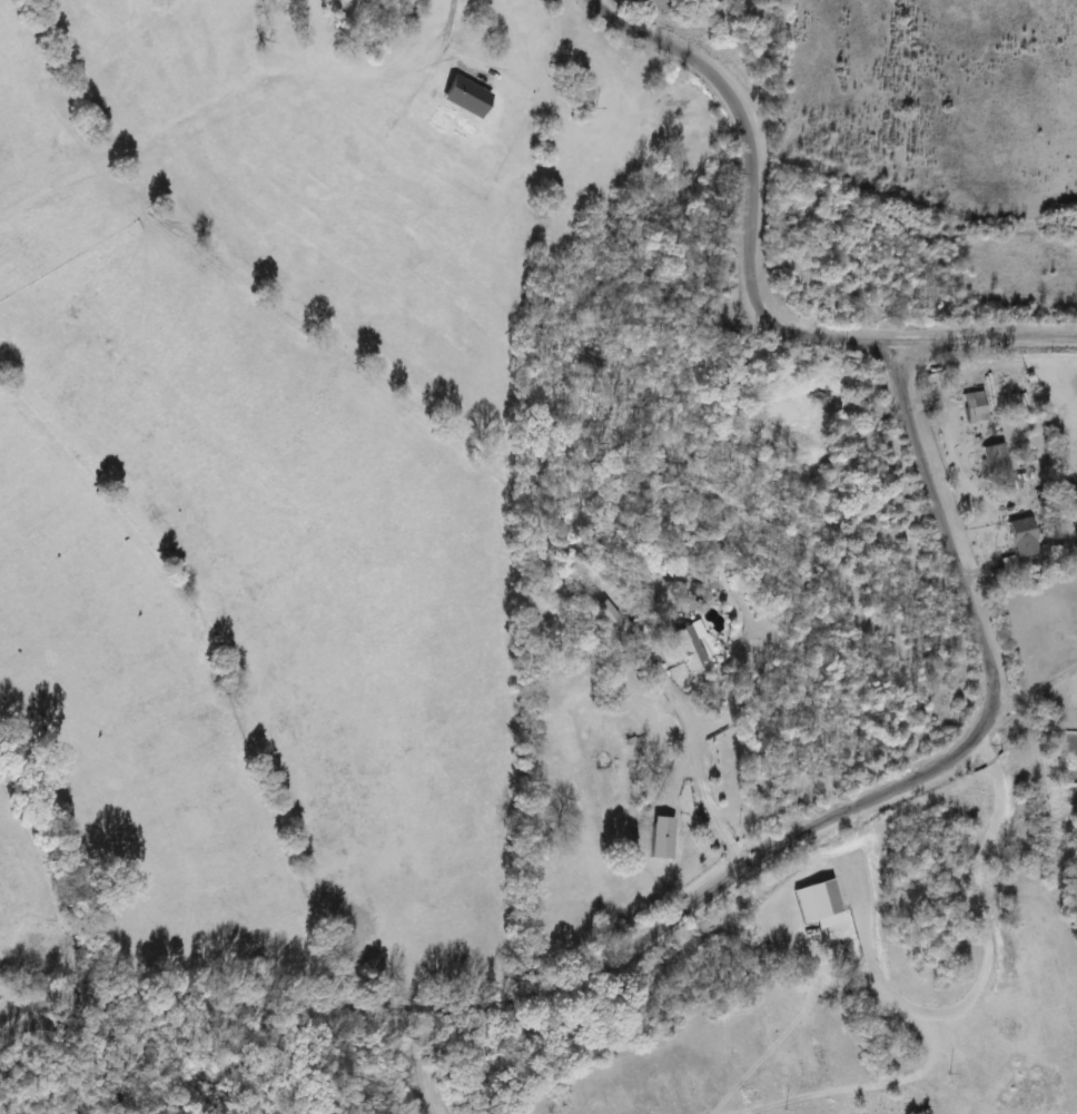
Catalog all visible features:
road: (751, 185)
road: (984, 336)
building: (974, 407)
building: (992, 459)
building: (1021, 536)
building: (605, 612)
building: (691, 647)
road: (1032, 690)
road: (698, 769)
building: (658, 838)
road: (702, 900)
building: (819, 900)
building: (848, 936)
road: (428, 1062)

